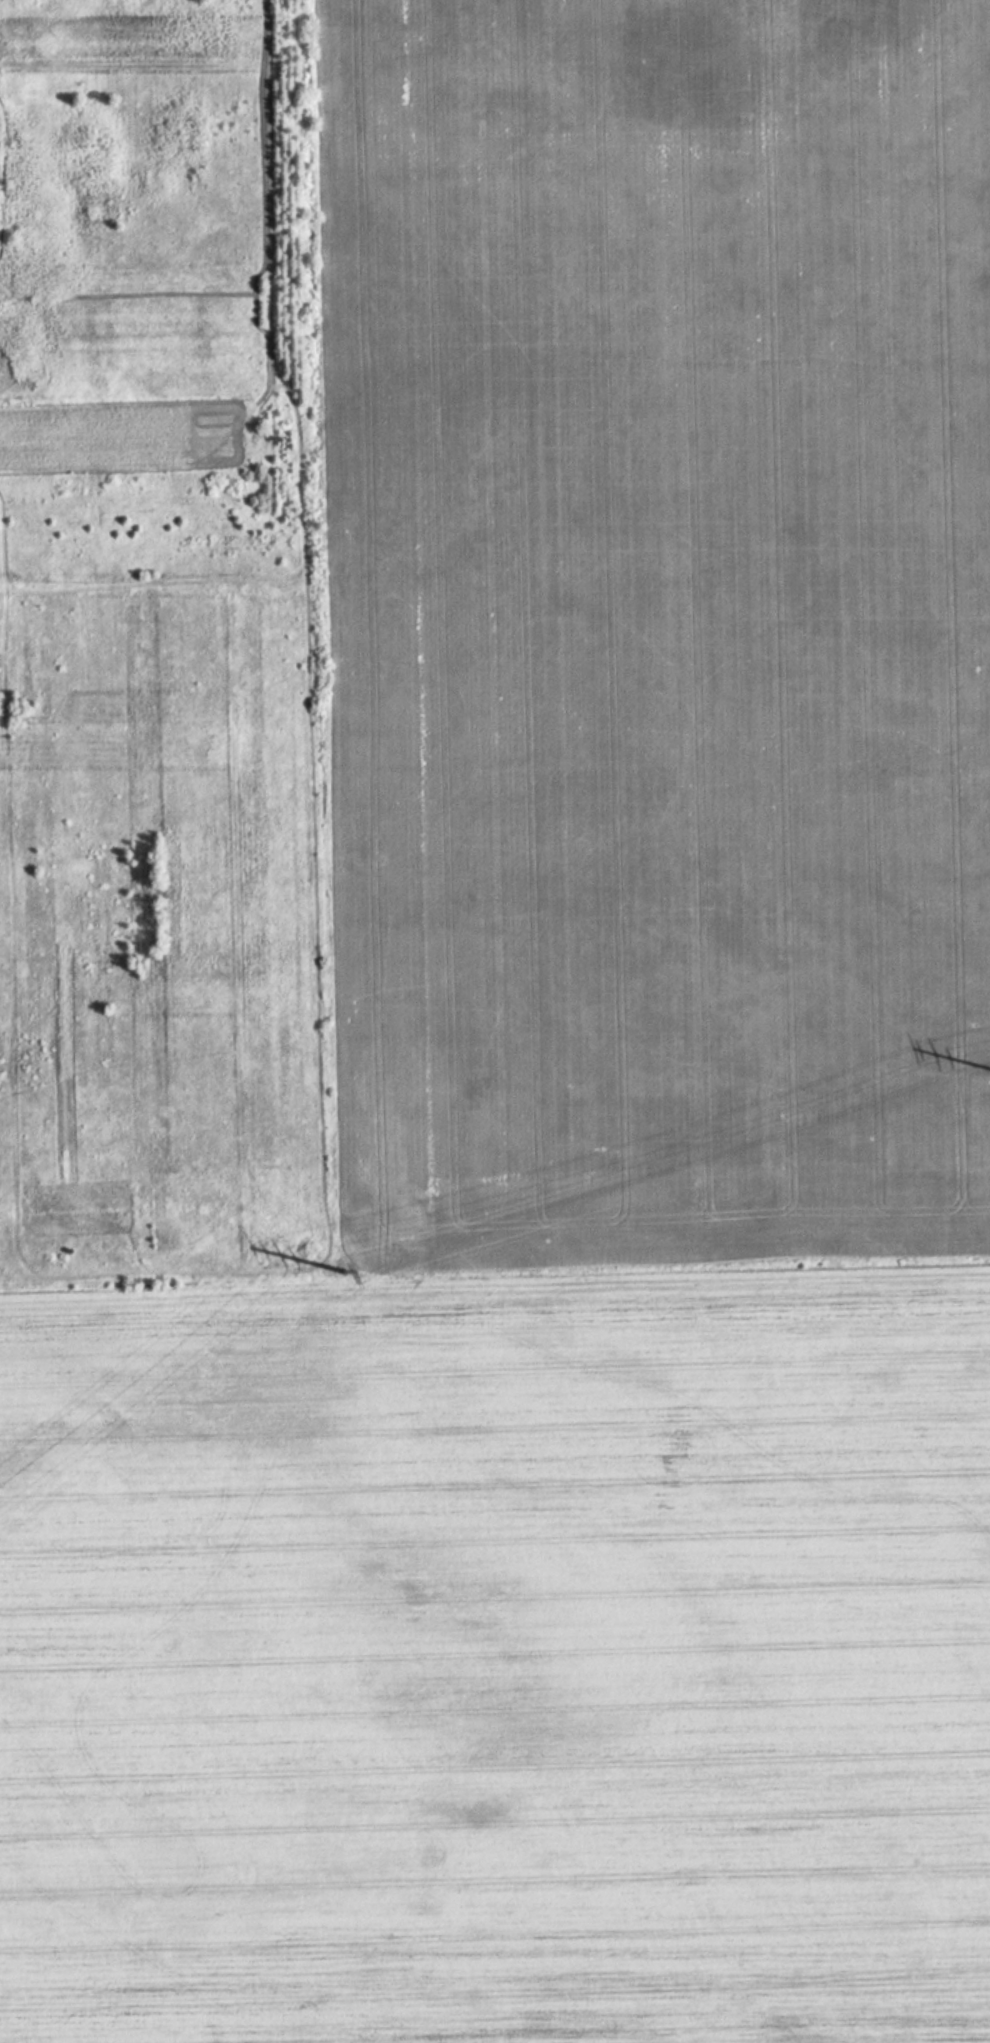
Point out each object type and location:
power tower: (352, 1276)

